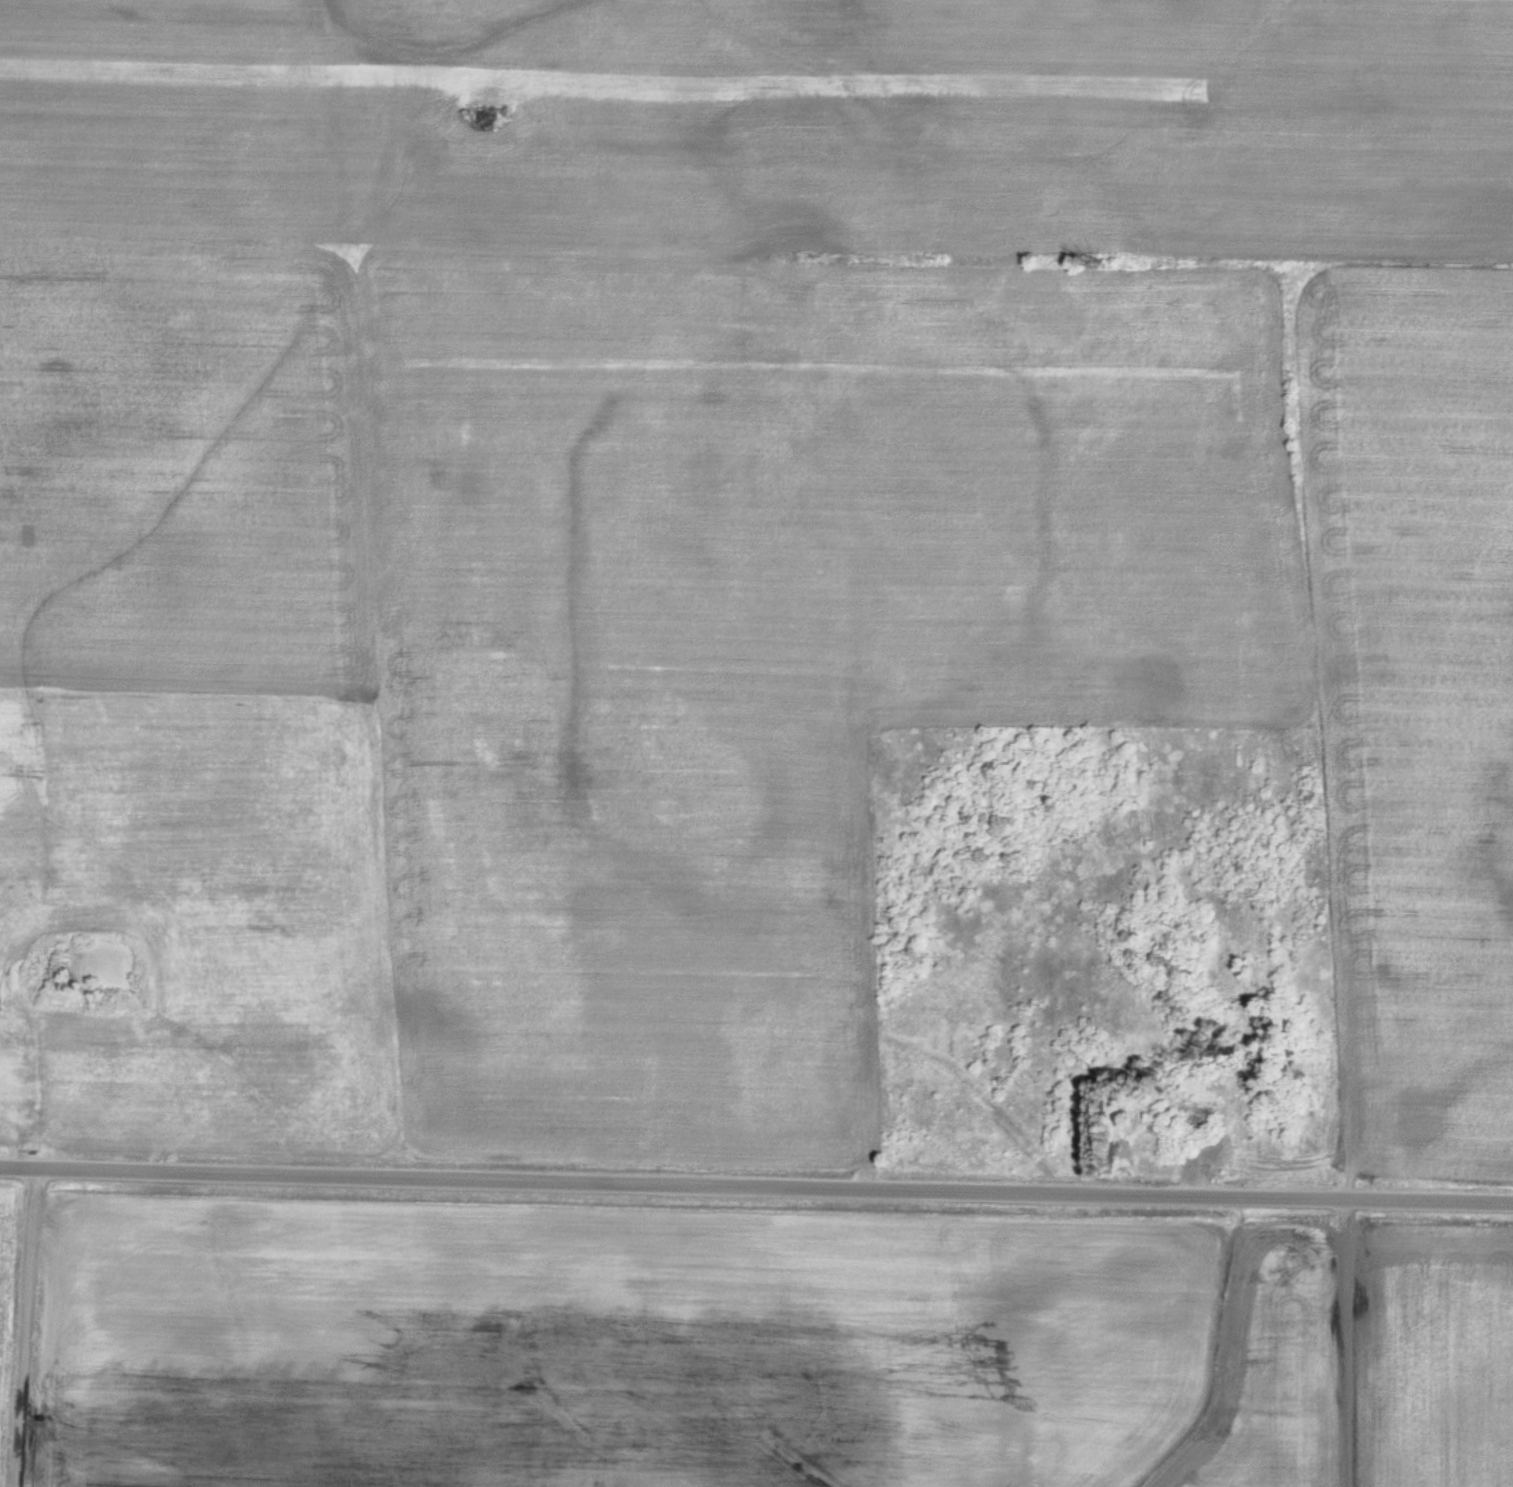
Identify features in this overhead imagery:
building: (1189, 1117)
road: (756, 1164)

